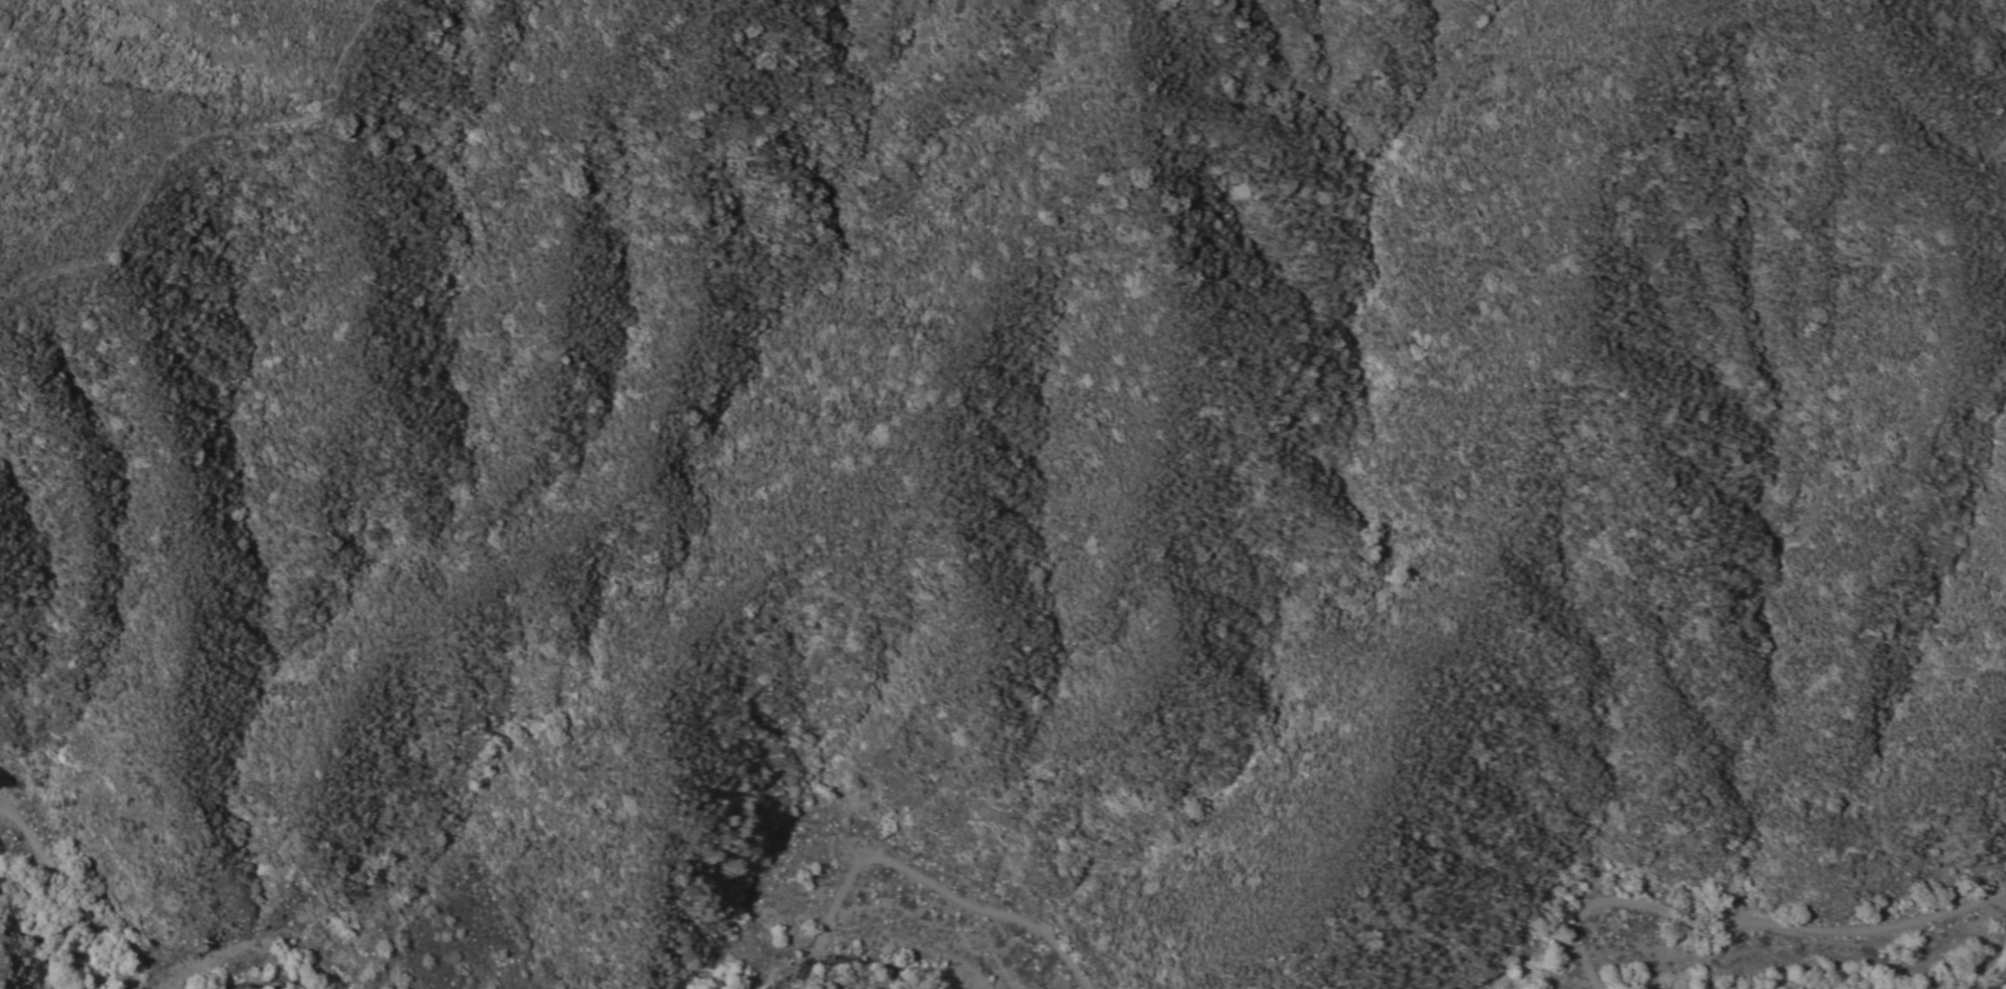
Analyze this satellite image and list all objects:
road: (916, 883)
road: (77, 899)
road: (1760, 932)

